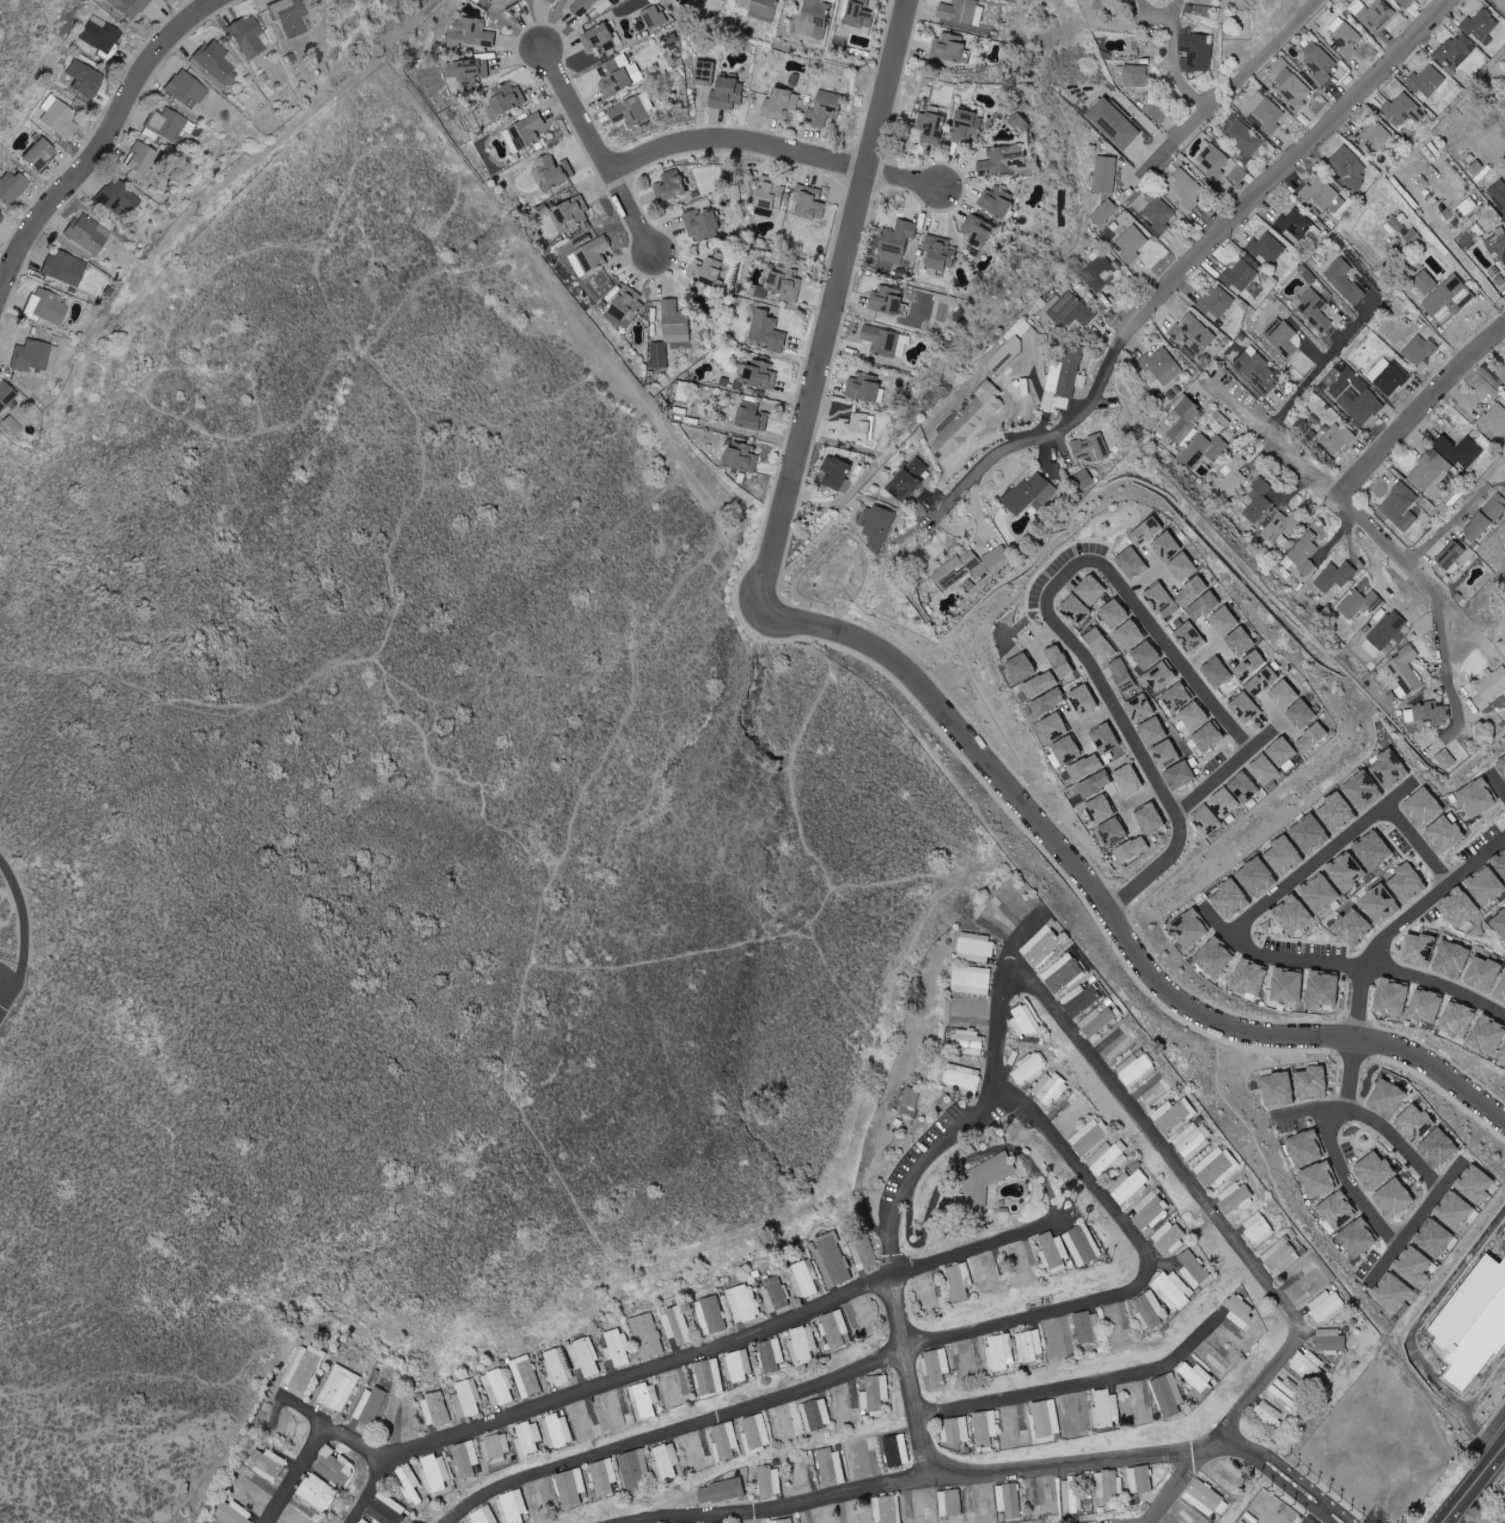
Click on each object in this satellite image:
building: (551, 1)
road: (1316, 1)
building: (1407, 2)
building: (1501, 3)
building: (505, 4)
building: (1101, 5)
building: (586, 6)
building: (128, 7)
building: (764, 8)
road: (1163, 10)
building: (962, 11)
building: (1372, 14)
building: (860, 16)
building: (288, 17)
building: (654, 17)
building: (813, 19)
building: (1481, 26)
building: (470, 32)
building: (98, 36)
building: (246, 36)
building: (1345, 38)
building: (600, 39)
building: (948, 47)
building: (1196, 51)
building: (1455, 52)
building: (1319, 63)
building: (213, 64)
road: (1176, 64)
building: (467, 71)
building: (618, 75)
building: (1133, 77)
building: (81, 80)
building: (1426, 82)
building: (719, 86)
road: (1230, 87)
building: (183, 88)
building: (1293, 89)
building: (506, 100)
building: (780, 103)
building: (823, 108)
building: (1403, 110)
building: (632, 111)
building: (1266, 113)
building: (56, 118)
building: (1114, 123)
building: (1020, 124)
building: (169, 126)
building: (966, 126)
building: (932, 128)
building: (524, 133)
building: (1242, 136)
building: (1375, 139)
road: (736, 140)
road: (103, 141)
road: (598, 149)
building: (36, 155)
building: (136, 159)
building: (1212, 161)
building: (1007, 162)
building: (1349, 168)
building: (551, 171)
building: (1105, 174)
road: (903, 178)
building: (670, 185)
building: (11, 187)
building: (1185, 190)
building: (769, 194)
building: (1498, 194)
building: (1322, 195)
building: (115, 198)
building: (702, 202)
building: (996, 202)
building: (810, 203)
building: (570, 213)
building: (1105, 213)
building: (1159, 214)
building: (0, 217)
building: (1294, 223)
building: (701, 225)
building: (85, 233)
building: (976, 234)
building: (1412, 238)
building: (896, 241)
building: (1132, 243)
building: (1498, 246)
building: (1268, 248)
building: (938, 253)
building: (591, 256)
road: (1193, 257)
road: (843, 262)
building: (62, 268)
building: (704, 270)
building: (1102, 273)
building: (1241, 273)
building: (1345, 281)
building: (1424, 282)
building: (1501, 282)
building: (785, 283)
building: (1448, 300)
building: (888, 301)
building: (1216, 303)
building: (44, 307)
building: (625, 307)
building: (1070, 310)
building: (1315, 310)
building: (674, 322)
building: (767, 331)
building: (1193, 333)
building: (1283, 338)
building: (885, 342)
building: (1419, 352)
building: (658, 355)
building: (1006, 355)
building: (32, 356)
road: (2, 357)
building: (1160, 366)
building: (1256, 370)
road: (1336, 372)
building: (1502, 373)
building: (759, 375)
building: (1388, 377)
building: (1064, 379)
building: (863, 387)
building: (4, 395)
building: (1361, 405)
road: (1420, 408)
building: (750, 416)
building: (1224, 417)
building: (1493, 419)
building: (1185, 420)
building: (967, 422)
building: (10, 424)
building: (854, 427)
building: (1336, 439)
building: (1091, 448)
building: (1203, 450)
building: (1459, 451)
building: (741, 456)
building: (1431, 472)
building: (1232, 476)
building: (907, 479)
building: (1084, 479)
building: (1029, 494)
building: (1258, 501)
building: (1400, 507)
road: (1351, 509)
building: (1484, 518)
road: (1450, 522)
building: (877, 527)
building: (1145, 532)
building: (1166, 547)
building: (1303, 555)
building: (1450, 555)
building: (995, 559)
building: (1130, 563)
building: (1182, 567)
building: (957, 569)
building: (1335, 577)
building: (1090, 590)
building: (1191, 591)
building: (1158, 598)
building: (1360, 603)
building: (1203, 607)
building: (1074, 608)
building: (1113, 614)
road: (1051, 615)
building: (1232, 631)
building: (1387, 632)
building: (1129, 635)
building: (1188, 637)
building: (1099, 645)
building: (1145, 656)
building: (1058, 662)
building: (1019, 667)
building: (1250, 667)
building: (1215, 672)
building: (1404, 672)
building: (1159, 677)
building: (1123, 678)
building: (1261, 682)
building: (1038, 685)
building: (1490, 688)
building: (1283, 695)
building: (1175, 698)
building: (1082, 700)
building: (1047, 702)
building: (1244, 708)
building: (1139, 709)
building: (1301, 714)
building: (1433, 714)
building: (1193, 716)
building: (1051, 728)
building: (1151, 731)
building: (1206, 737)
building: (1310, 738)
building: (1103, 739)
building: (1063, 752)
building: (1280, 752)
building: (1164, 754)
building: (1444, 760)
building: (1501, 767)
building: (1083, 768)
building: (1388, 769)
building: (1262, 770)
building: (1178, 776)
building: (1127, 780)
road: (1213, 782)
road: (1498, 782)
building: (1093, 784)
building: (1242, 787)
building: (1361, 791)
building: (1474, 799)
building: (1222, 803)
building: (1421, 808)
building: (1098, 810)
building: (1335, 813)
building: (1148, 819)
building: (1205, 821)
building: (1110, 833)
building: (1307, 834)
building: (1442, 836)
road: (1419, 844)
building: (1130, 850)
building: (1371, 851)
building: (1282, 856)
road: (1323, 857)
building: (1500, 866)
building: (1344, 872)
road: (1085, 877)
building: (1255, 878)
building: (1405, 883)
building: (1484, 886)
building: (1318, 894)
building: (1228, 900)
building: (1378, 905)
building: (1457, 908)
building: (1291, 915)
building: (1499, 924)
building: (1351, 928)
building: (1187, 930)
road: (5, 939)
building: (975, 947)
building: (1041, 948)
road: (1377, 948)
building: (1417, 950)
building: (1213, 958)
building: (1450, 960)
road: (1349, 965)
building: (1481, 974)
building: (1247, 978)
building: (971, 980)
building: (1285, 986)
building: (1500, 990)
building: (1321, 991)
building: (1390, 998)
building: (1082, 1000)
building: (1424, 1007)
building: (1456, 1020)
building: (1024, 1021)
building: (1097, 1021)
building: (1486, 1035)
building: (967, 1043)
building: (1502, 1054)
building: (1029, 1069)
building: (1135, 1069)
building: (963, 1080)
building: (1310, 1084)
building: (1049, 1088)
building: (1276, 1090)
building: (1154, 1091)
building: (1385, 1100)
building: (909, 1102)
building: (1069, 1114)
building: (1172, 1116)
road: (1372, 1120)
building: (1412, 1124)
building: (1089, 1137)
building: (1193, 1140)
building: (1304, 1149)
building: (1436, 1149)
building: (1108, 1158)
building: (1216, 1167)
building: (1372, 1171)
road: (915, 1174)
building: (1317, 1180)
building: (983, 1181)
road: (1350, 1183)
building: (1478, 1186)
building: (1129, 1187)
building: (1235, 1198)
building: (1392, 1199)
road: (1206, 1205)
building: (1334, 1212)
building: (1458, 1212)
building: (1151, 1213)
building: (1260, 1228)
road: (1406, 1234)
building: (1169, 1238)
building: (1356, 1239)
building: (1436, 1239)
building: (1080, 1243)
building: (1051, 1250)
building: (864, 1253)
building: (1281, 1257)
parking lot: (1502, 1258)
building: (833, 1260)
building: (1415, 1267)
building: (1194, 1268)
building: (805, 1279)
building: (960, 1280)
road: (1453, 1282)
building: (1174, 1289)
building: (776, 1294)
building: (1393, 1294)
building: (744, 1303)
building: (1325, 1307)
road: (808, 1308)
building: (1150, 1309)
building: (678, 1325)
building: (1476, 1326)
building: (1087, 1327)
building: (837, 1328)
building: (649, 1333)
building: (1330, 1341)
building: (805, 1345)
road: (914, 1345)
building: (618, 1347)
building: (1000, 1352)
building: (587, 1357)
parking lot: (1438, 1359)
building: (740, 1364)
building: (1309, 1365)
building: (304, 1367)
building: (936, 1367)
building: (559, 1368)
road: (1504, 1370)
building: (526, 1377)
building: (710, 1378)
building: (1197, 1378)
road: (1078, 1382)
building: (685, 1385)
building: (498, 1387)
building: (340, 1388)
building: (1288, 1392)
road: (1486, 1393)
building: (1168, 1394)
building: (467, 1398)
building: (644, 1399)
building: (856, 1402)
road: (1456, 1405)
building: (371, 1406)
building: (1105, 1408)
building: (436, 1409)
building: (1269, 1413)
building: (816, 1414)
building: (984, 1429)
building: (559, 1430)
building: (957, 1430)
building: (757, 1433)
building: (529, 1439)
building: (726, 1440)
building: (896, 1450)
building: (468, 1459)
building: (667, 1461)
building: (268, 1464)
building: (335, 1465)
building: (831, 1467)
building: (637, 1469)
building: (438, 1472)
road: (299, 1475)
building: (605, 1477)
building: (1140, 1479)
road: (1290, 1479)
building: (769, 1481)
building: (411, 1483)
road: (1182, 1484)
road: (927, 1485)
road: (1478, 1485)
building: (1108, 1486)
building: (571, 1487)
building: (720, 1491)
building: (317, 1492)
road: (368, 1493)
building: (1074, 1494)
building: (1203, 1497)
building: (1008, 1500)
building: (989, 1501)
building: (951, 1503)
building: (513, 1506)
building: (387, 1509)
building: (235, 1513)
building: (887, 1513)
building: (484, 1515)
building: (363, 1521)

